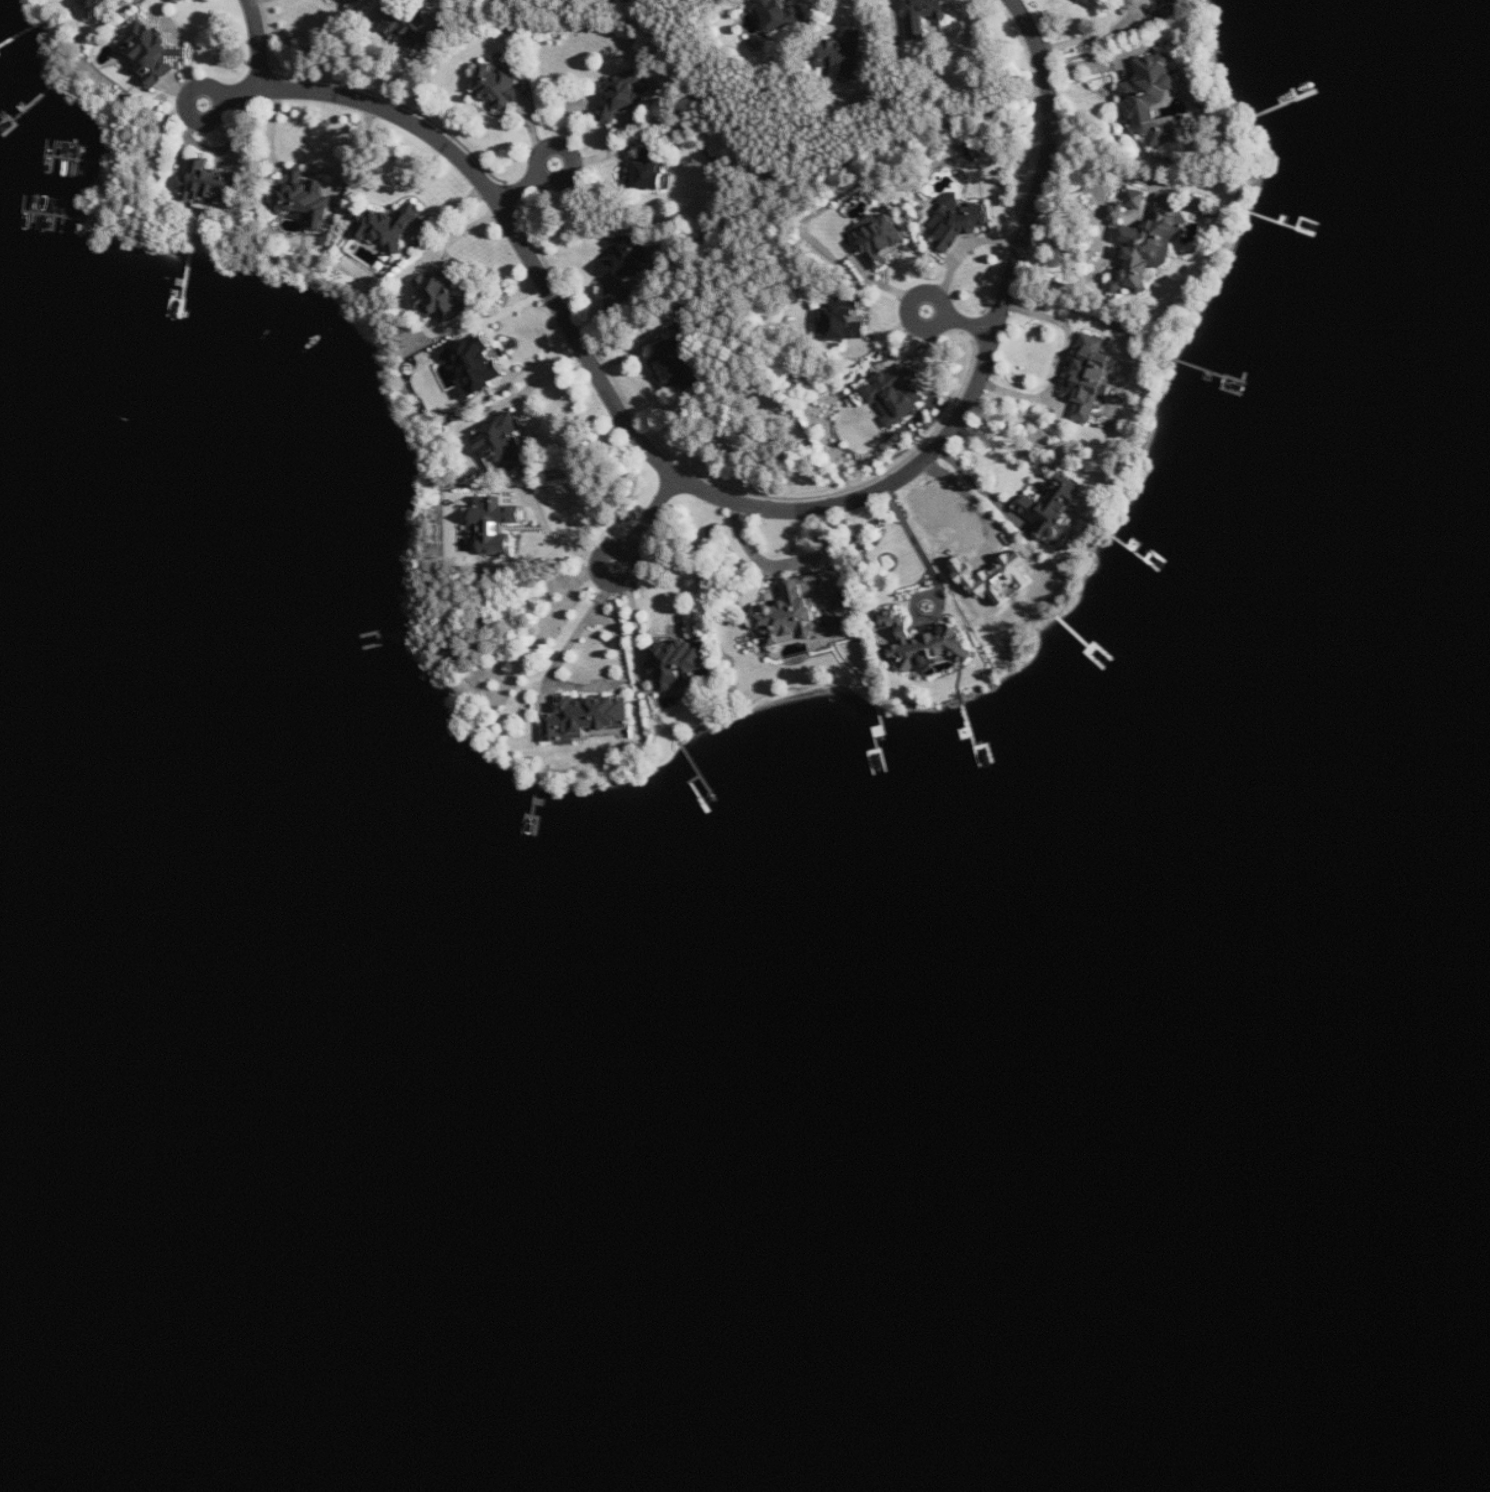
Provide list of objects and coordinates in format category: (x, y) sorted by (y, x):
building: (124, 0)
building: (354, 1)
building: (105, 2)
building: (925, 16)
building: (413, 28)
road: (1095, 34)
road: (258, 43)
road: (327, 45)
building: (152, 52)
building: (845, 56)
road: (1092, 60)
building: (499, 86)
road: (242, 91)
building: (622, 94)
road: (223, 96)
building: (1152, 99)
road: (271, 133)
road: (568, 151)
road: (356, 156)
road: (816, 157)
building: (651, 170)
road: (298, 172)
road: (1093, 185)
building: (210, 187)
road: (518, 189)
building: (305, 199)
building: (1127, 205)
building: (959, 223)
building: (391, 227)
building: (880, 241)
building: (1149, 246)
road: (967, 247)
building: (627, 258)
road: (701, 269)
road: (1096, 272)
building: (439, 297)
road: (911, 304)
building: (845, 321)
road: (970, 324)
building: (475, 363)
building: (678, 365)
building: (1090, 378)
building: (896, 394)
building: (502, 444)
road: (976, 481)
road: (750, 505)
building: (1053, 508)
road: (653, 512)
building: (492, 524)
road: (550, 531)
road: (920, 543)
road: (626, 550)
road: (785, 563)
building: (997, 579)
building: (796, 610)
building: (844, 621)
road: (638, 627)
building: (919, 643)
building: (677, 664)
road: (569, 685)
building: (585, 718)

